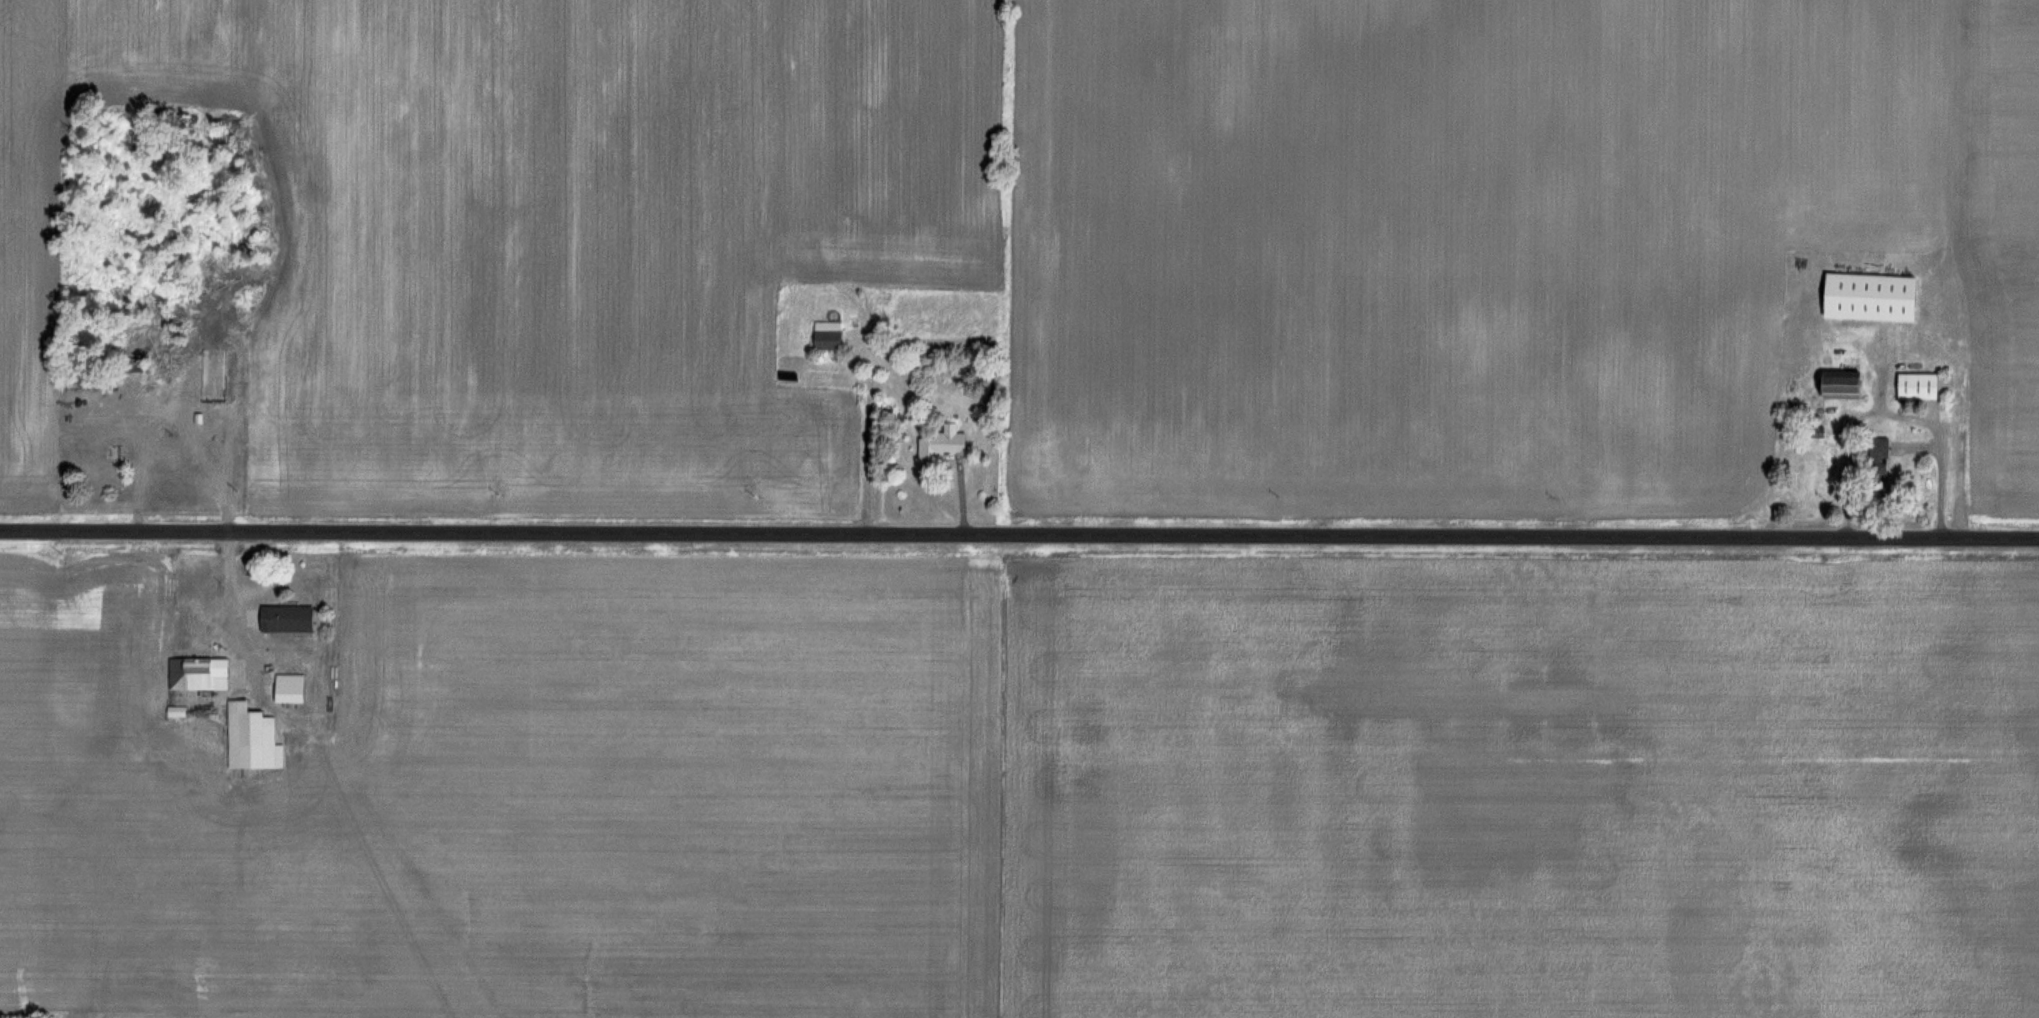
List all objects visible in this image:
building: (827, 335)
building: (212, 376)
building: (1837, 385)
building: (1915, 386)
building: (940, 443)
building: (97, 453)
building: (1876, 462)
road: (1019, 535)
road: (224, 598)
building: (283, 619)
building: (197, 674)
building: (287, 689)
building: (250, 740)

